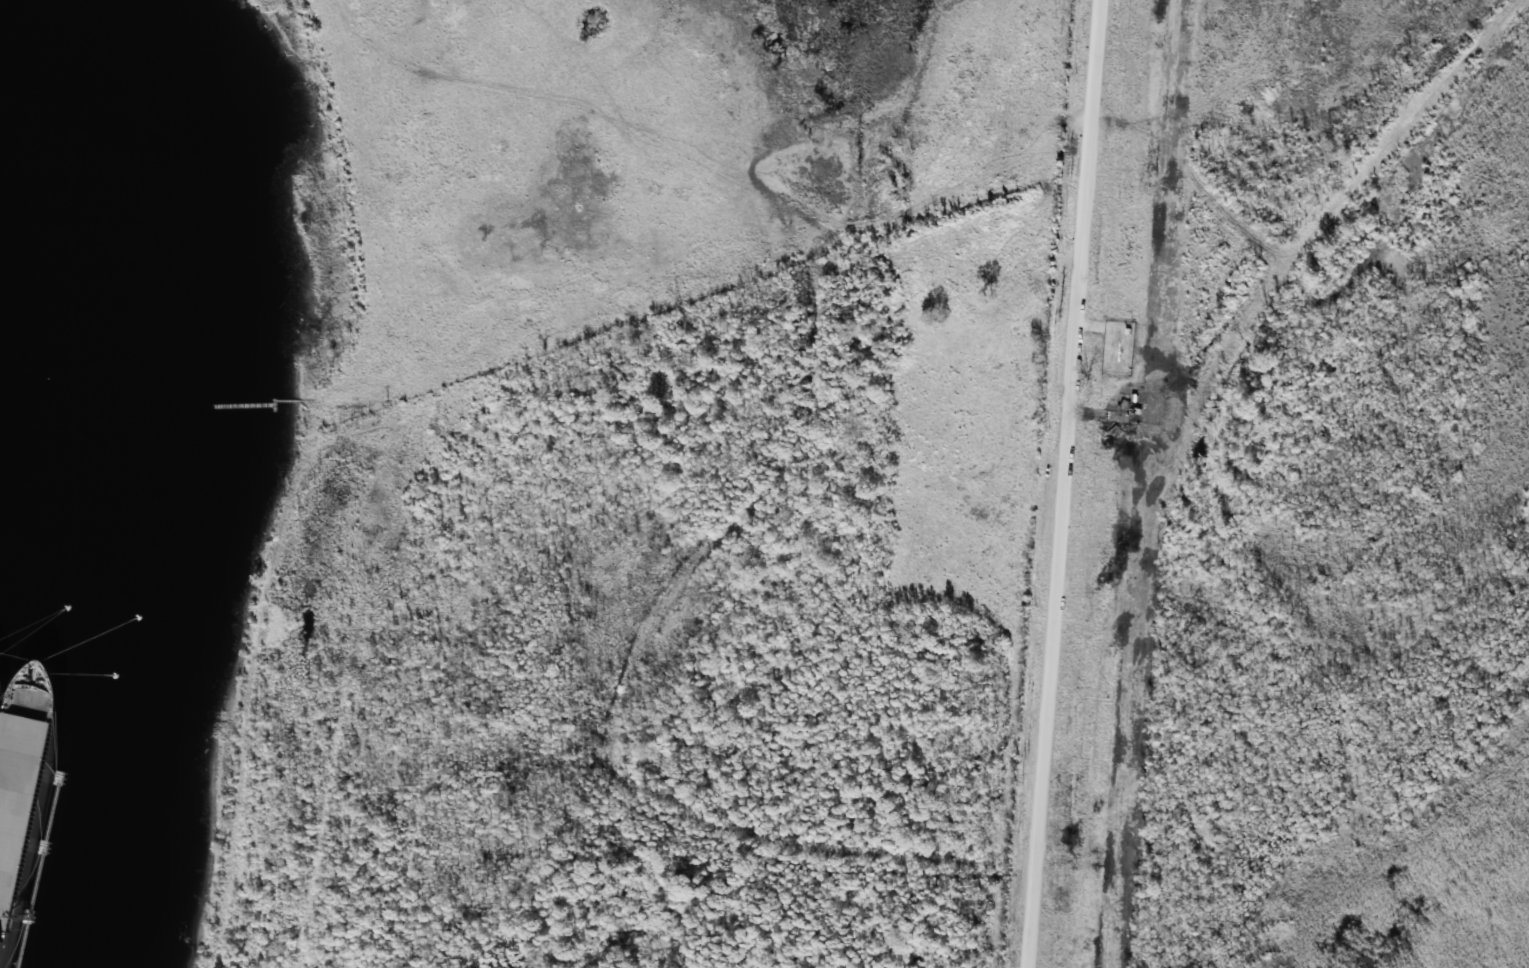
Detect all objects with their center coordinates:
road: (618, 120)
road: (1186, 158)
road: (294, 400)
pier: (243, 404)
pier: (273, 404)
pier: (387, 404)
road: (1197, 441)
road: (1060, 483)
building: (28, 777)
pier: (58, 778)
road: (53, 813)
pier: (44, 847)
road: (38, 882)
pier: (28, 916)
road: (23, 946)

